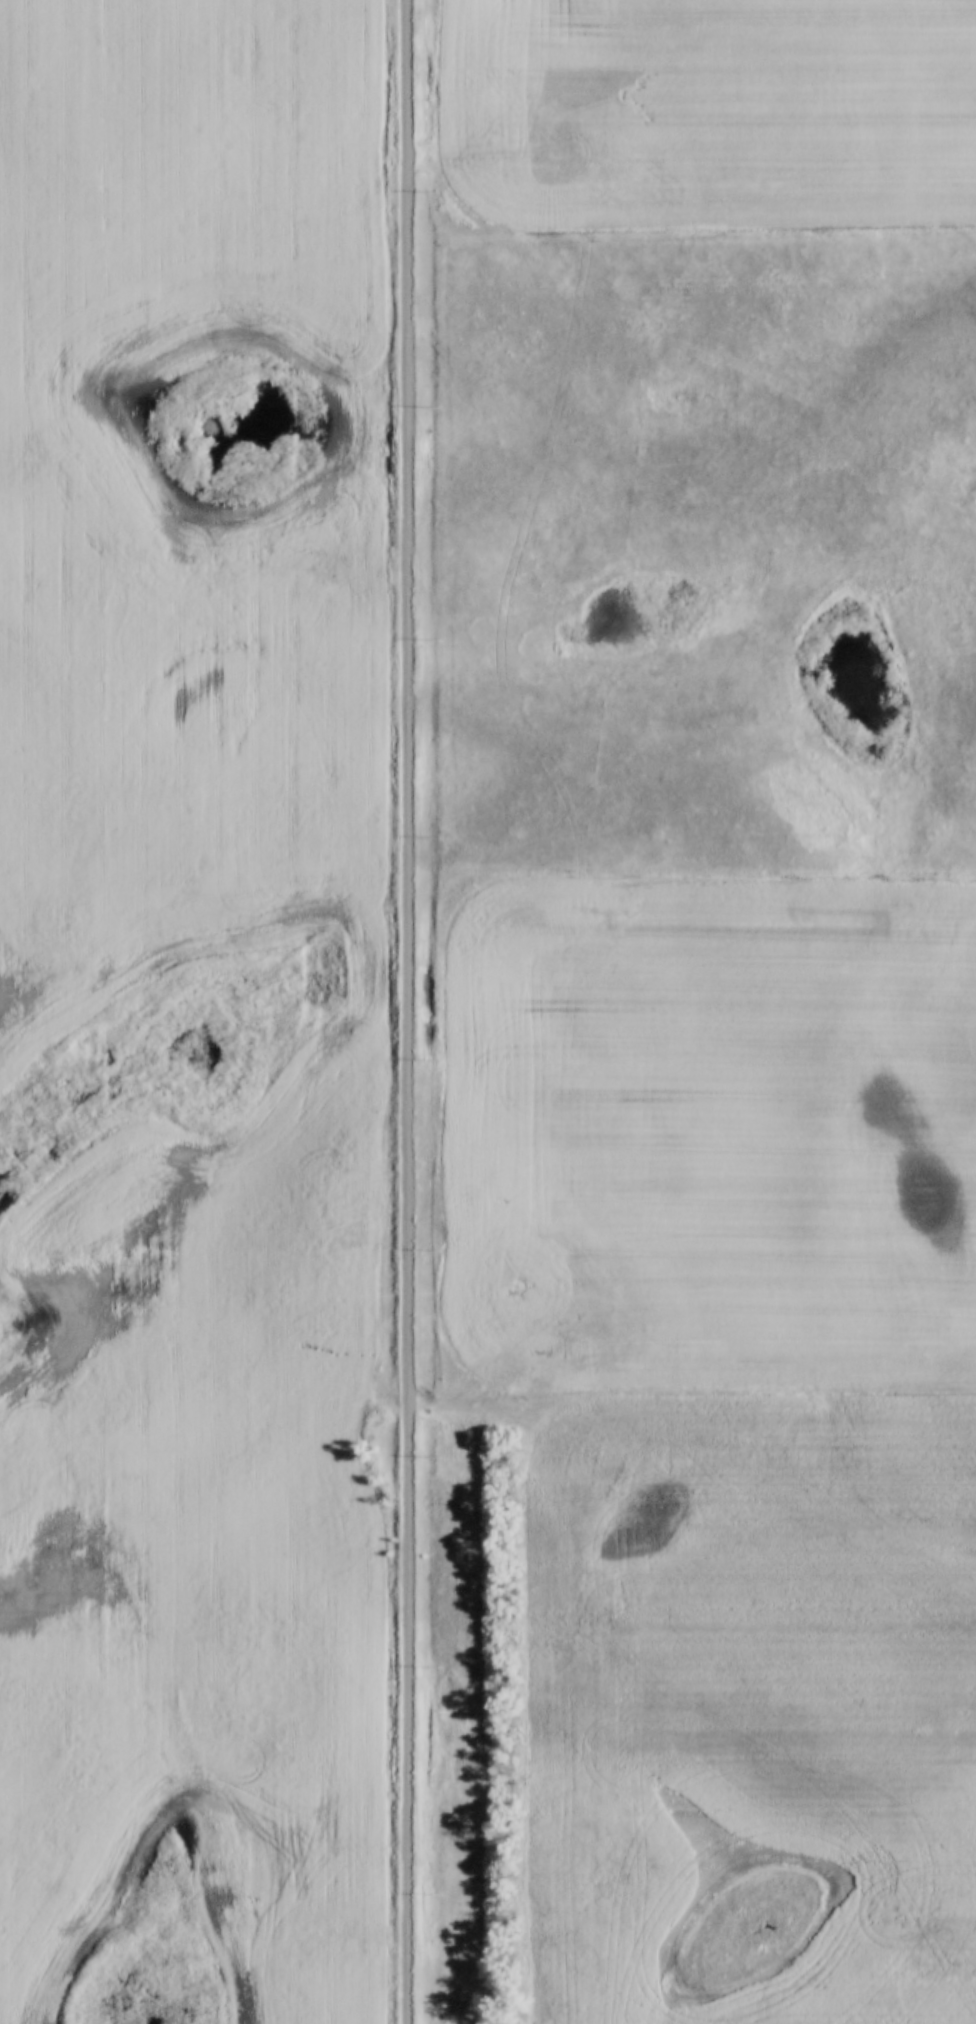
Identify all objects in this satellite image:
road: (407, 1011)
road: (691, 1404)

